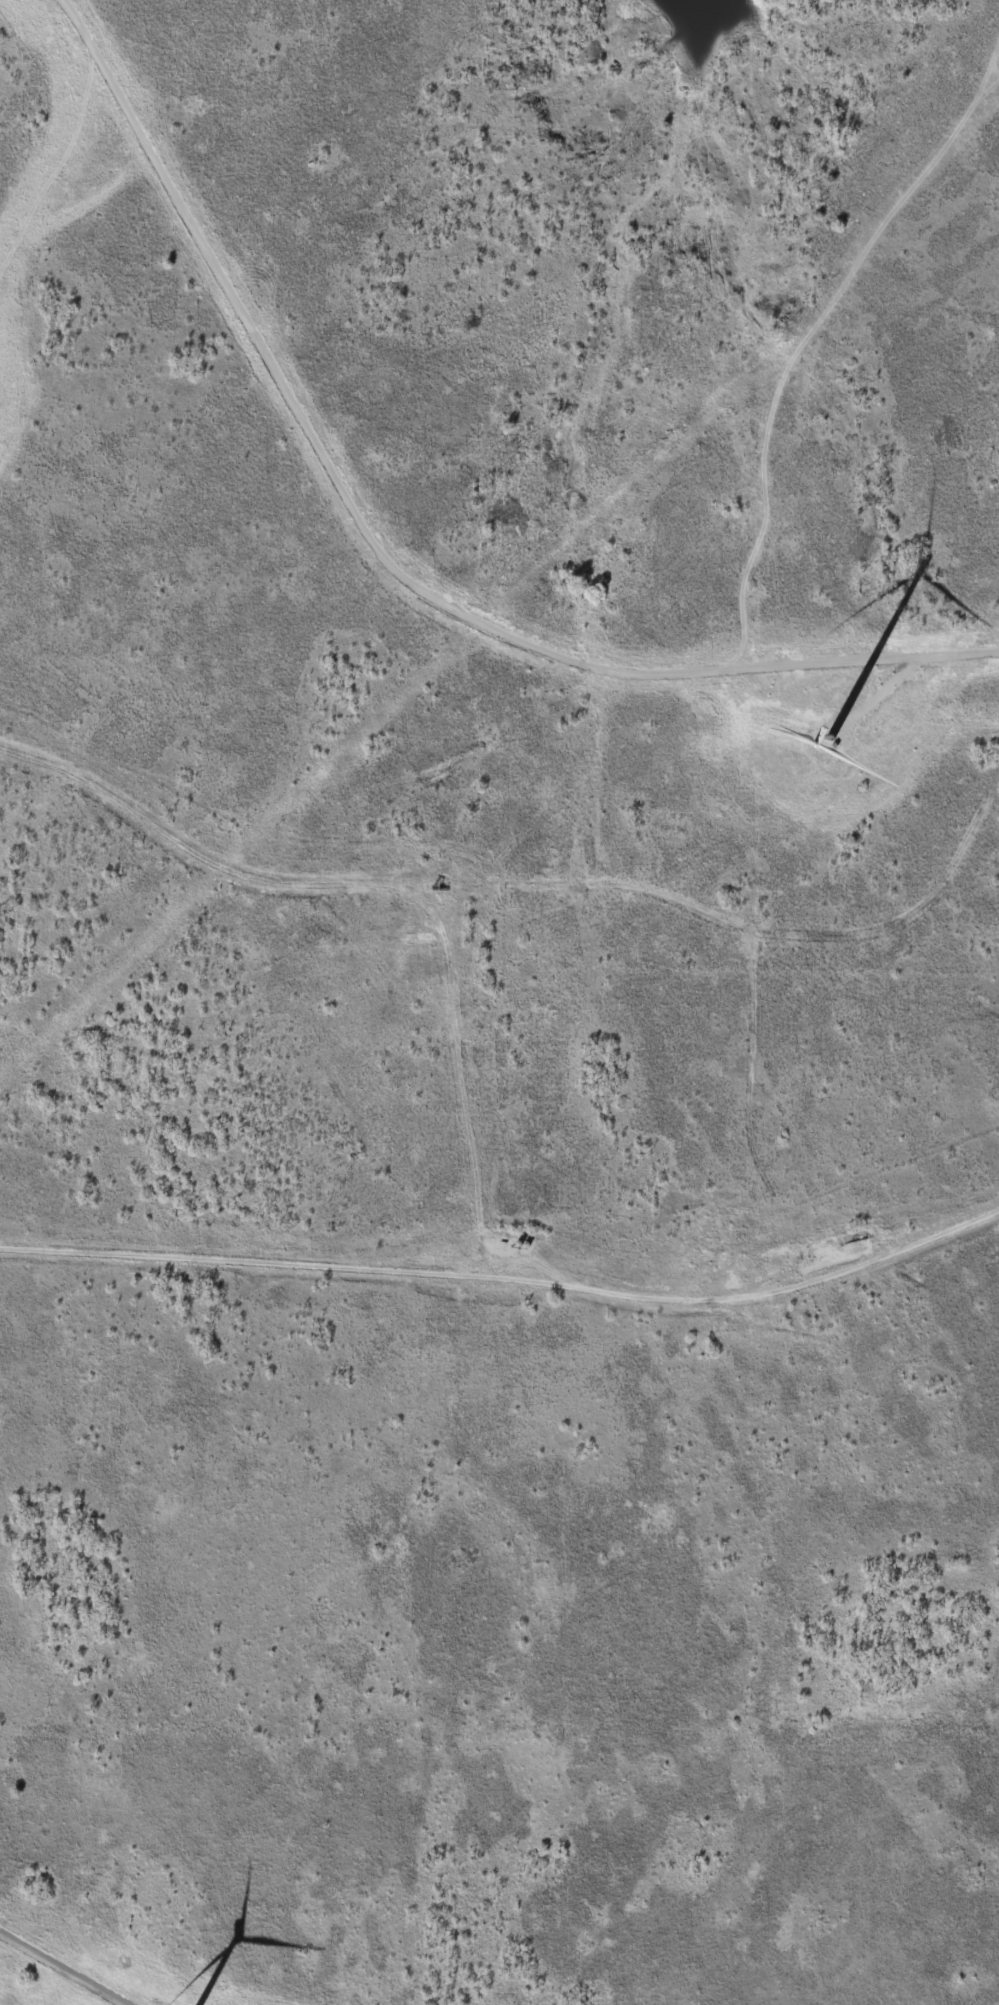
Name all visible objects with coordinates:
road: (394, 550)
wind turbine: (828, 735)
road: (533, 875)
road: (510, 1276)
road: (66, 1975)

